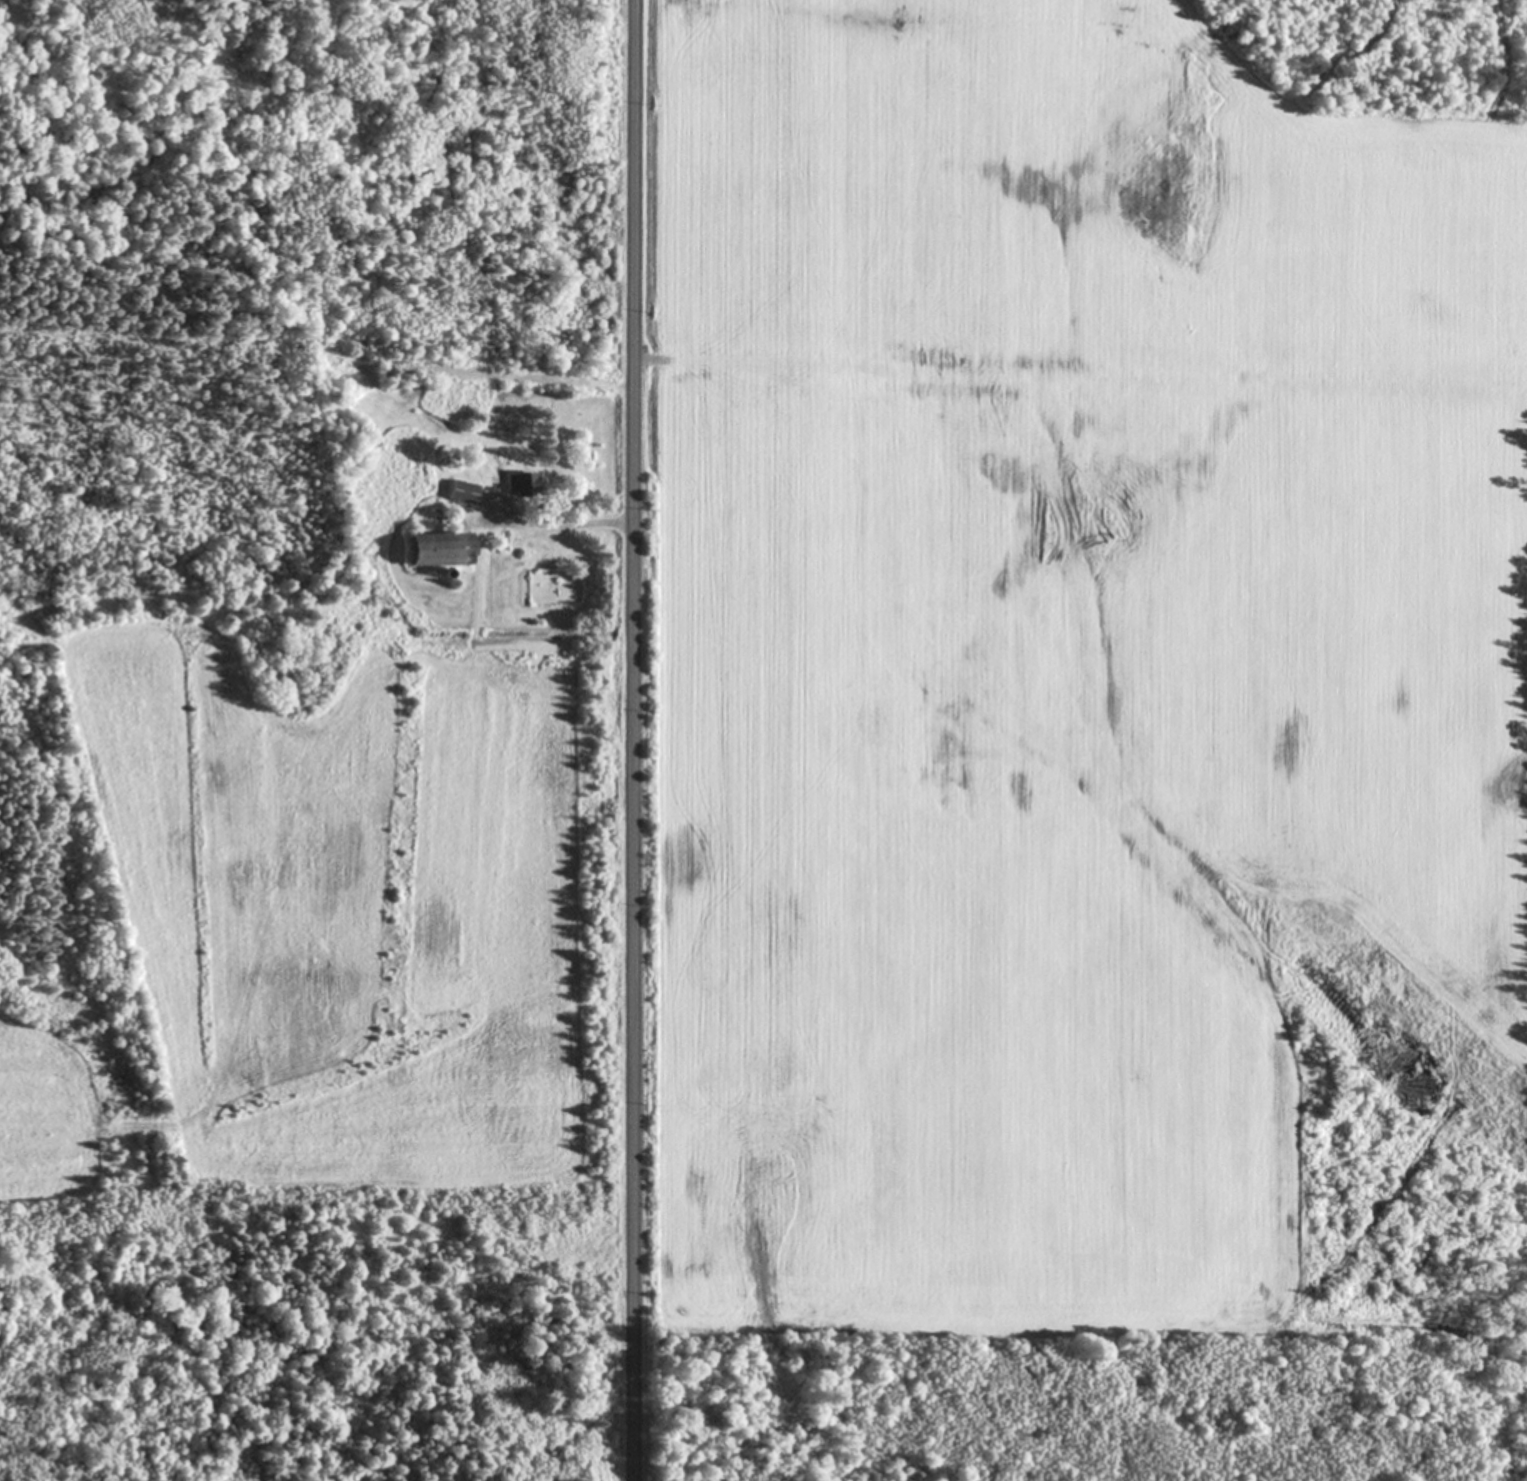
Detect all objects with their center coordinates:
road: (1079, 376)
building: (519, 484)
building: (461, 492)
road: (561, 522)
building: (436, 549)
road: (630, 740)

